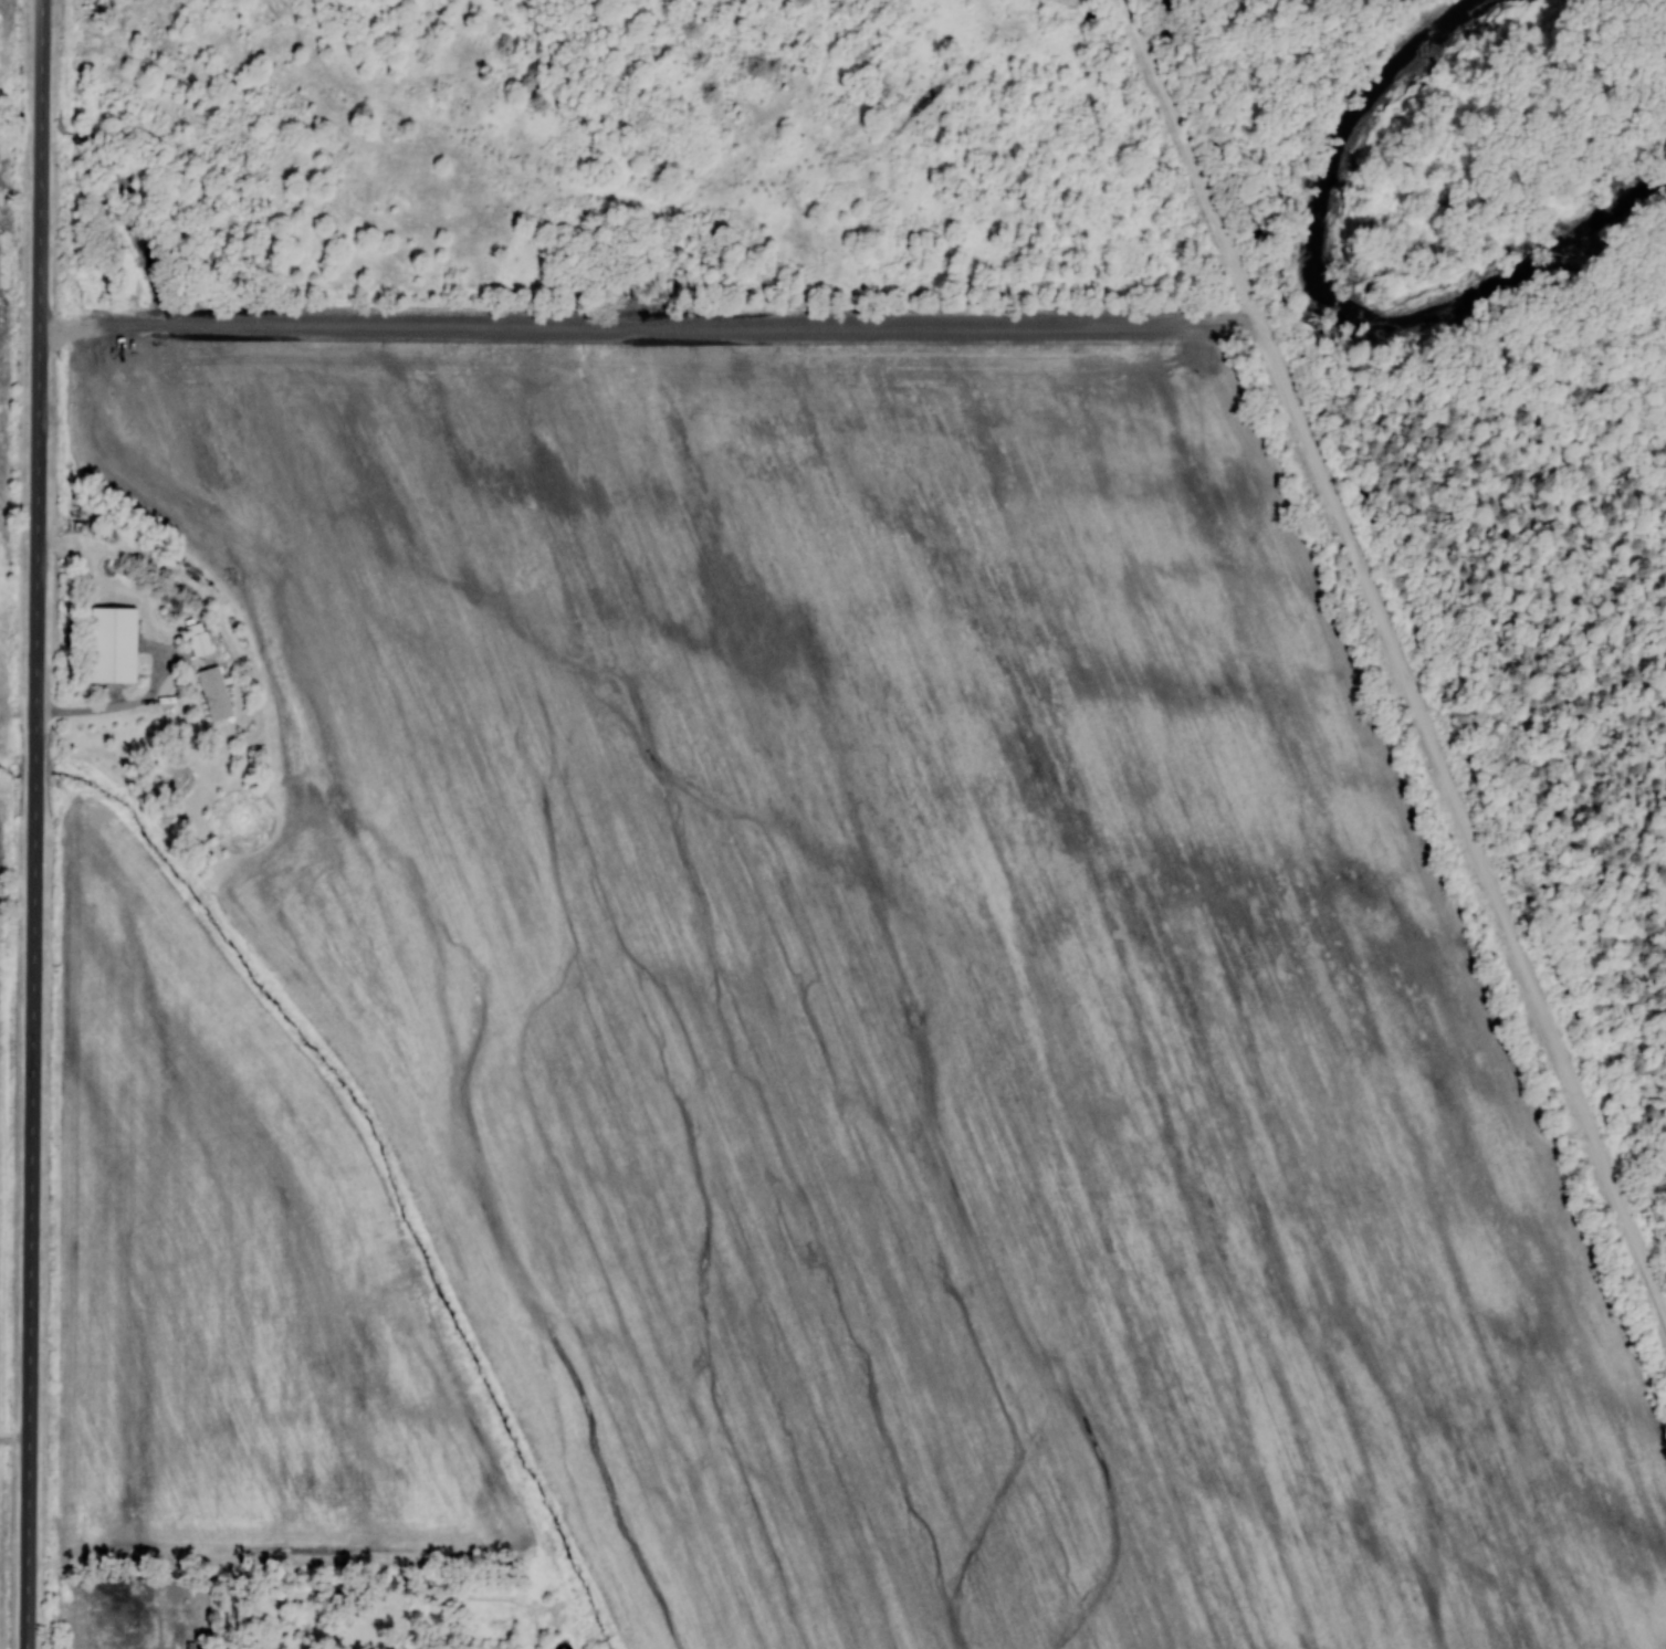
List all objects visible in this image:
road: (40, 157)
river: (1339, 303)
road: (1311, 332)
road: (1627, 626)
building: (198, 638)
building: (113, 643)
road: (1396, 655)
building: (214, 692)
road: (117, 704)
park: (967, 838)
road: (33, 981)

